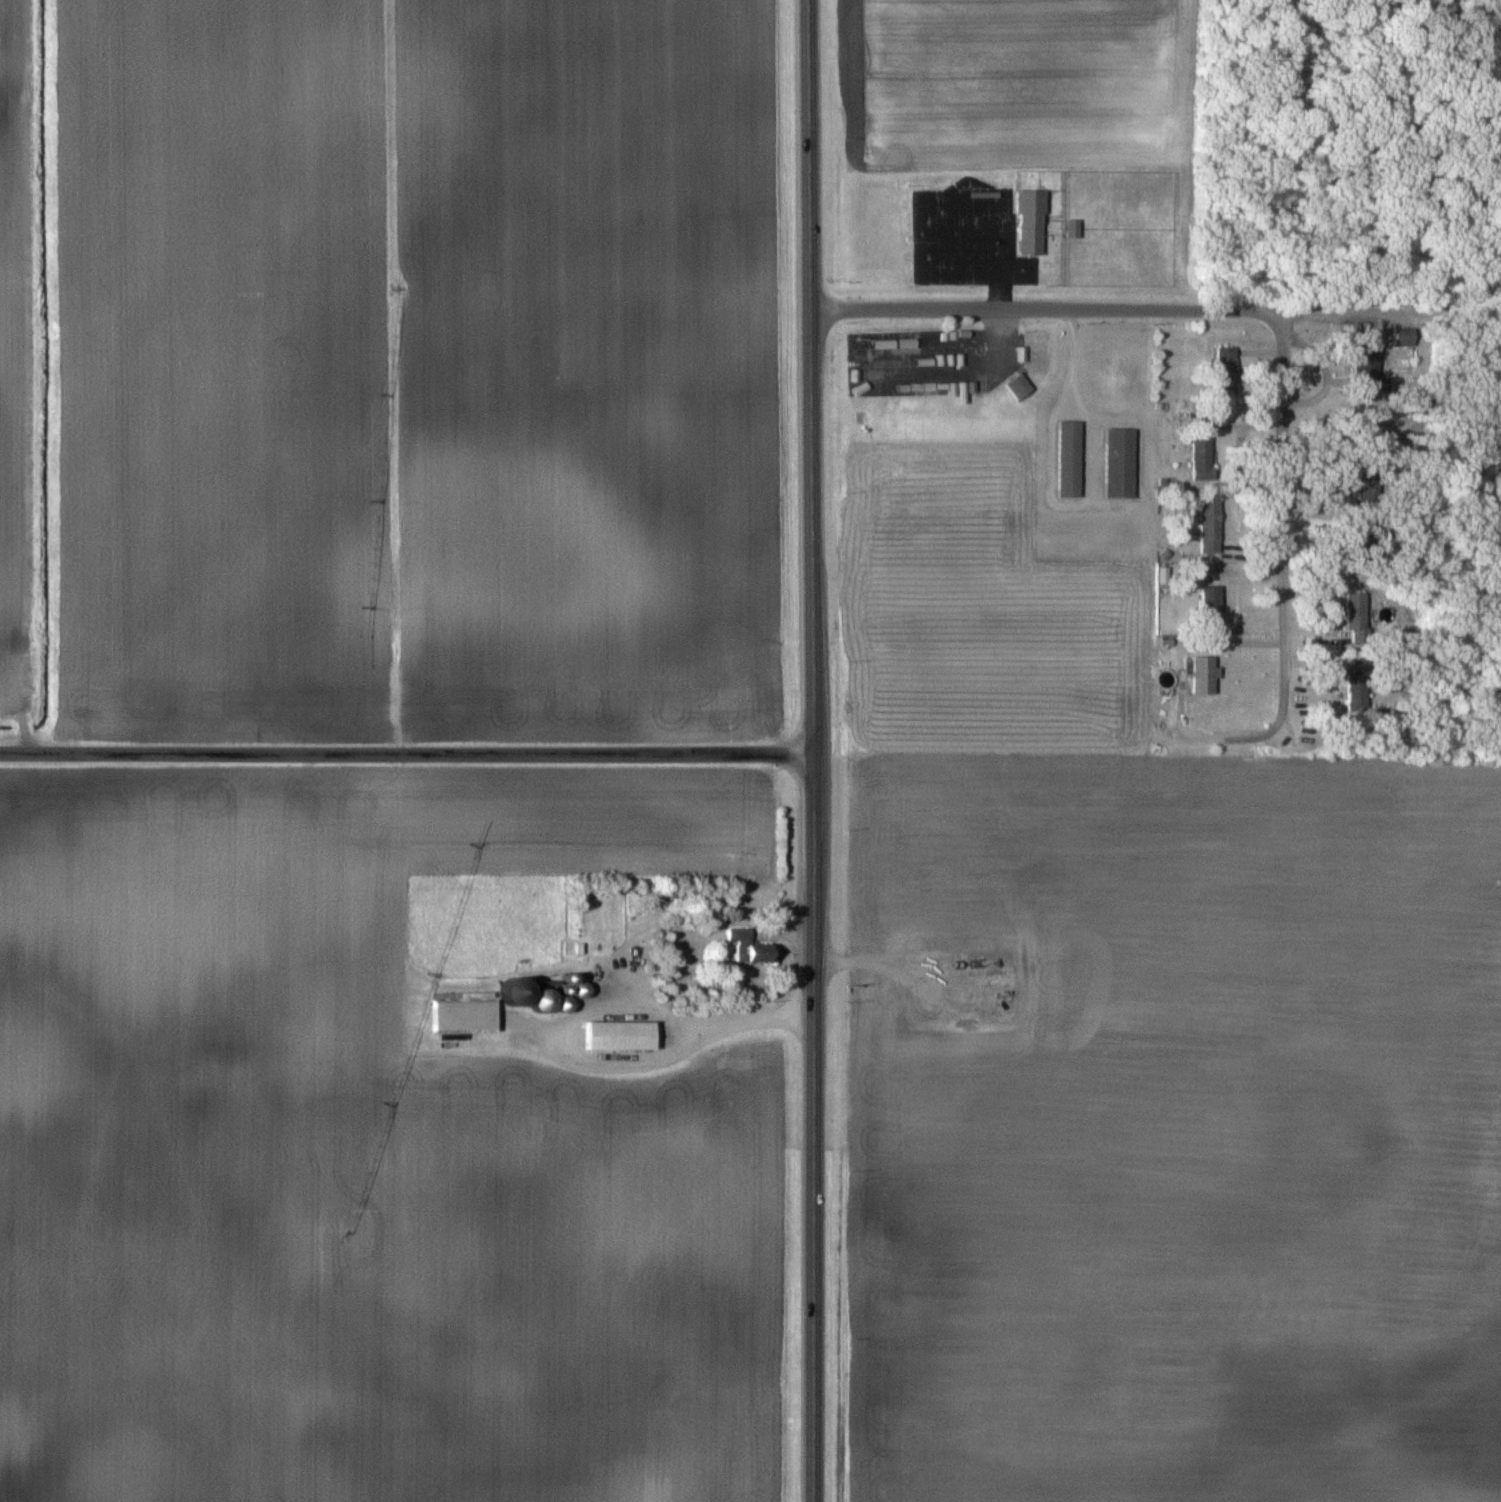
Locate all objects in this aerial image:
building: (1024, 174)
building: (1030, 222)
road: (1044, 308)
road: (1331, 308)
building: (1225, 365)
building: (1364, 365)
building: (1019, 385)
building: (1201, 454)
building: (1069, 458)
building: (1120, 462)
building: (1210, 526)
road: (1283, 565)
building: (1212, 600)
building: (1357, 616)
building: (1204, 674)
building: (1358, 686)
road: (407, 750)
road: (814, 750)
building: (750, 947)
building: (515, 991)
building: (543, 1001)
building: (463, 1012)
building: (620, 1035)

